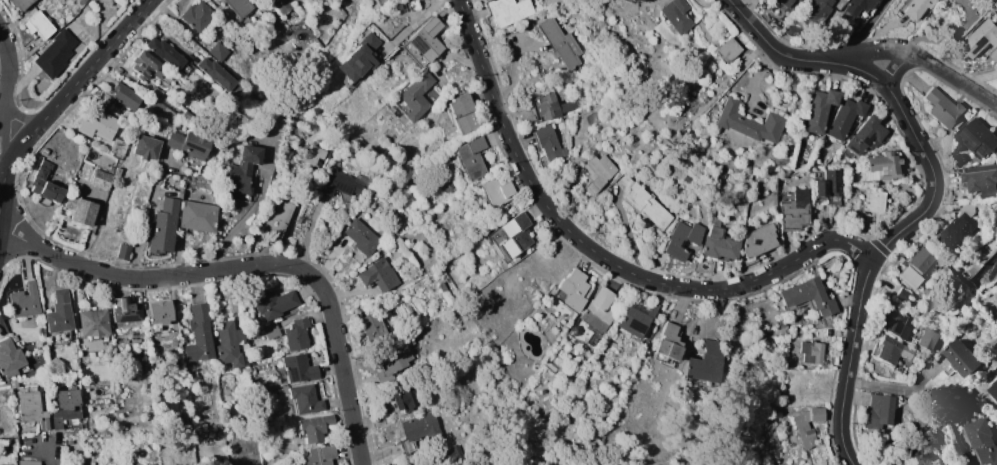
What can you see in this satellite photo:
building: (632, 0)
building: (639, 0)
building: (796, 0)
building: (82, 1)
building: (783, 2)
building: (21, 4)
building: (398, 5)
building: (239, 6)
building: (281, 6)
building: (857, 6)
building: (918, 8)
building: (508, 11)
building: (817, 11)
building: (197, 15)
building: (677, 15)
road: (464, 18)
building: (41, 25)
road: (867, 25)
road: (412, 27)
building: (792, 29)
road: (967, 36)
building: (980, 38)
building: (426, 40)
building: (560, 43)
road: (774, 43)
road: (900, 49)
building: (728, 50)
building: (219, 51)
building: (166, 52)
building: (55, 54)
building: (994, 55)
building: (358, 58)
building: (146, 65)
road: (898, 65)
road: (857, 68)
road: (483, 71)
building: (216, 73)
road: (67, 92)
building: (155, 93)
road: (3, 94)
road: (981, 95)
building: (126, 96)
building: (415, 96)
building: (553, 107)
building: (943, 108)
building: (818, 110)
building: (463, 114)
building: (187, 115)
building: (244, 117)
building: (845, 117)
building: (747, 122)
building: (99, 124)
road: (505, 130)
building: (866, 135)
building: (977, 137)
building: (189, 144)
building: (551, 145)
building: (118, 146)
building: (144, 147)
building: (46, 152)
building: (312, 154)
building: (471, 157)
building: (652, 164)
building: (884, 166)
building: (111, 169)
building: (242, 170)
building: (117, 172)
building: (597, 172)
building: (101, 179)
building: (687, 179)
building: (980, 179)
building: (833, 181)
building: (341, 183)
building: (46, 185)
building: (820, 188)
building: (497, 192)
building: (187, 194)
building: (875, 201)
road: (545, 204)
building: (647, 206)
building: (80, 211)
building: (794, 211)
road: (147, 216)
building: (198, 217)
building: (276, 218)
road: (241, 220)
building: (164, 226)
building: (958, 226)
building: (514, 235)
building: (361, 236)
building: (681, 240)
building: (758, 240)
building: (719, 244)
building: (983, 249)
building: (124, 251)
road: (872, 258)
building: (920, 259)
road: (251, 264)
road: (615, 264)
building: (961, 265)
building: (378, 274)
road: (764, 274)
building: (907, 277)
building: (572, 289)
building: (808, 295)
building: (903, 295)
building: (24, 301)
building: (275, 303)
building: (600, 306)
building: (409, 309)
building: (125, 310)
building: (59, 312)
building: (158, 312)
building: (634, 321)
building: (93, 322)
building: (371, 323)
building: (895, 323)
building: (272, 330)
building: (781, 330)
building: (829, 332)
building: (199, 334)
building: (297, 334)
building: (15, 338)
building: (927, 339)
building: (135, 341)
building: (592, 341)
building: (669, 341)
building: (230, 342)
building: (890, 348)
building: (812, 353)
building: (394, 357)
building: (10, 358)
building: (560, 358)
building: (962, 358)
building: (146, 362)
building: (704, 365)
building: (297, 368)
building: (147, 370)
building: (13, 384)
building: (993, 389)
building: (403, 397)
building: (304, 399)
building: (66, 407)
building: (32, 409)
building: (878, 409)
building: (808, 426)
building: (314, 427)
building: (420, 431)
building: (982, 441)
building: (69, 442)
road: (52, 455)
building: (453, 455)
building: (320, 456)
building: (924, 459)
park: (630, 460)
building: (29, 462)
building: (94, 463)
building: (1, 464)

